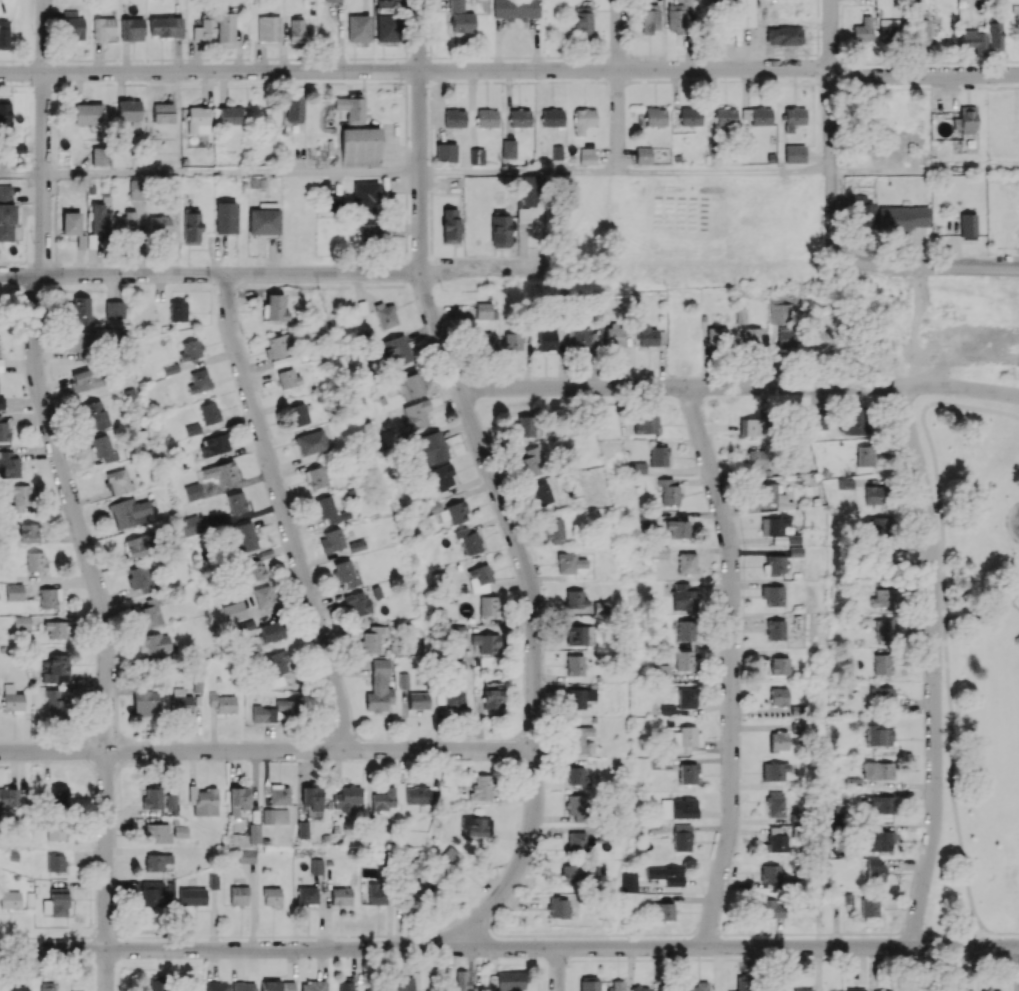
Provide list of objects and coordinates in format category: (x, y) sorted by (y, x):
building: (334, 0)
building: (456, 5)
building: (516, 9)
building: (743, 13)
building: (675, 17)
building: (650, 18)
building: (582, 20)
building: (462, 22)
building: (72, 25)
building: (165, 26)
building: (103, 28)
building: (225, 28)
building: (358, 28)
building: (387, 28)
building: (131, 29)
building: (863, 29)
building: (204, 30)
building: (268, 30)
building: (296, 30)
building: (888, 30)
building: (4, 34)
building: (921, 34)
building: (784, 35)
building: (994, 36)
building: (974, 40)
road: (510, 70)
road: (618, 85)
building: (350, 108)
building: (128, 109)
building: (293, 109)
building: (5, 112)
building: (162, 112)
building: (88, 114)
building: (230, 115)
building: (757, 115)
building: (655, 116)
building: (690, 116)
building: (725, 116)
building: (487, 117)
building: (552, 117)
building: (793, 117)
building: (454, 118)
building: (520, 118)
building: (197, 119)
building: (583, 120)
building: (966, 120)
road: (830, 125)
road: (44, 138)
building: (360, 147)
building: (509, 148)
building: (445, 152)
building: (794, 153)
building: (587, 155)
building: (643, 155)
building: (100, 156)
building: (477, 156)
road: (924, 170)
road: (519, 171)
road: (723, 171)
road: (232, 172)
road: (22, 173)
building: (135, 188)
building: (5, 191)
building: (365, 196)
building: (527, 198)
building: (334, 203)
building: (861, 211)
building: (100, 216)
building: (225, 217)
building: (903, 218)
building: (264, 219)
building: (6, 222)
building: (71, 223)
building: (125, 223)
building: (158, 224)
building: (450, 225)
building: (191, 226)
building: (968, 226)
building: (500, 230)
building: (369, 232)
road: (926, 265)
road: (273, 273)
building: (274, 307)
building: (114, 309)
building: (81, 310)
building: (483, 310)
building: (177, 311)
building: (386, 316)
park: (930, 328)
building: (614, 334)
building: (717, 335)
building: (650, 336)
building: (753, 336)
building: (787, 336)
building: (483, 338)
building: (581, 338)
building: (821, 339)
building: (546, 340)
building: (513, 341)
building: (80, 343)
building: (279, 345)
building: (190, 350)
building: (396, 350)
building: (1, 365)
building: (288, 378)
building: (87, 379)
building: (199, 381)
building: (410, 386)
road: (738, 386)
building: (2, 402)
building: (209, 412)
building: (94, 413)
building: (297, 414)
building: (415, 415)
building: (818, 420)
building: (854, 420)
building: (647, 424)
building: (527, 426)
building: (192, 429)
building: (4, 430)
building: (311, 442)
building: (214, 444)
building: (431, 447)
building: (102, 450)
building: (864, 455)
building: (755, 459)
building: (532, 462)
building: (8, 465)
building: (638, 467)
building: (221, 472)
building: (443, 476)
building: (316, 477)
building: (117, 480)
road: (492, 480)
building: (193, 491)
building: (668, 491)
building: (541, 494)
building: (873, 494)
building: (20, 497)
building: (236, 502)
building: (329, 510)
building: (129, 512)
road: (284, 512)
building: (454, 513)
road: (1004, 520)
building: (192, 524)
building: (879, 525)
building: (678, 528)
building: (554, 530)
building: (778, 530)
building: (29, 532)
building: (242, 537)
building: (468, 539)
building: (331, 540)
building: (356, 545)
building: (137, 546)
building: (795, 551)
building: (660, 552)
building: (36, 561)
building: (569, 563)
building: (687, 563)
building: (774, 564)
building: (252, 570)
building: (345, 573)
building: (481, 574)
building: (139, 578)
building: (14, 591)
building: (772, 595)
building: (263, 596)
road: (1010, 596)
building: (684, 597)
building: (49, 598)
building: (882, 598)
building: (576, 599)
building: (357, 604)
building: (489, 605)
road: (102, 608)
road: (941, 610)
building: (233, 611)
building: (149, 612)
road: (973, 614)
building: (22, 622)
building: (686, 629)
building: (775, 629)
building: (271, 631)
building: (884, 631)
building: (575, 635)
building: (372, 639)
building: (486, 642)
building: (155, 643)
building: (685, 660)
building: (882, 663)
road: (933, 664)
park: (982, 664)
building: (574, 665)
road: (731, 665)
building: (779, 665)
building: (57, 668)
building: (278, 668)
building: (662, 672)
building: (379, 687)
building: (882, 695)
building: (778, 696)
building: (579, 697)
building: (493, 698)
building: (686, 698)
building: (12, 699)
building: (418, 700)
building: (181, 701)
building: (146, 702)
building: (222, 703)
building: (57, 709)
building: (275, 711)
building: (879, 736)
building: (582, 740)
building: (686, 740)
building: (778, 740)
road: (267, 750)
building: (775, 770)
building: (877, 770)
building: (687, 773)
building: (577, 775)
building: (482, 787)
building: (62, 793)
building: (279, 795)
building: (415, 795)
building: (312, 796)
building: (8, 797)
building: (152, 798)
building: (347, 798)
building: (384, 799)
building: (203, 800)
building: (238, 800)
building: (171, 801)
building: (576, 804)
building: (774, 804)
building: (882, 804)
building: (678, 808)
building: (275, 815)
building: (475, 825)
building: (302, 829)
building: (55, 831)
building: (158, 832)
building: (253, 832)
building: (681, 837)
building: (777, 838)
building: (877, 840)
building: (576, 841)
building: (247, 855)
building: (157, 861)
building: (55, 862)
building: (316, 866)
building: (876, 869)
building: (578, 873)
building: (771, 873)
building: (665, 875)
building: (213, 881)
building: (629, 881)
building: (416, 890)
building: (157, 892)
building: (378, 893)
building: (238, 895)
building: (307, 895)
building: (192, 896)
building: (272, 896)
building: (341, 896)
building: (10, 900)
building: (56, 902)
building: (871, 906)
building: (557, 907)
building: (767, 907)
building: (663, 911)
road: (966, 932)
road: (507, 948)
road: (557, 969)
road: (105, 970)
building: (462, 981)
building: (506, 981)
building: (159, 983)
building: (402, 983)
building: (743, 983)
building: (589, 984)
building: (277, 985)
building: (617, 985)
building: (47, 986)
building: (216, 986)
building: (243, 986)
building: (313, 986)
building: (345, 986)
building: (698, 986)
building: (19, 988)
building: (640, 988)
building: (803, 989)
building: (856, 989)
building: (877, 990)
building: (962, 990)
building: (991, 990)

